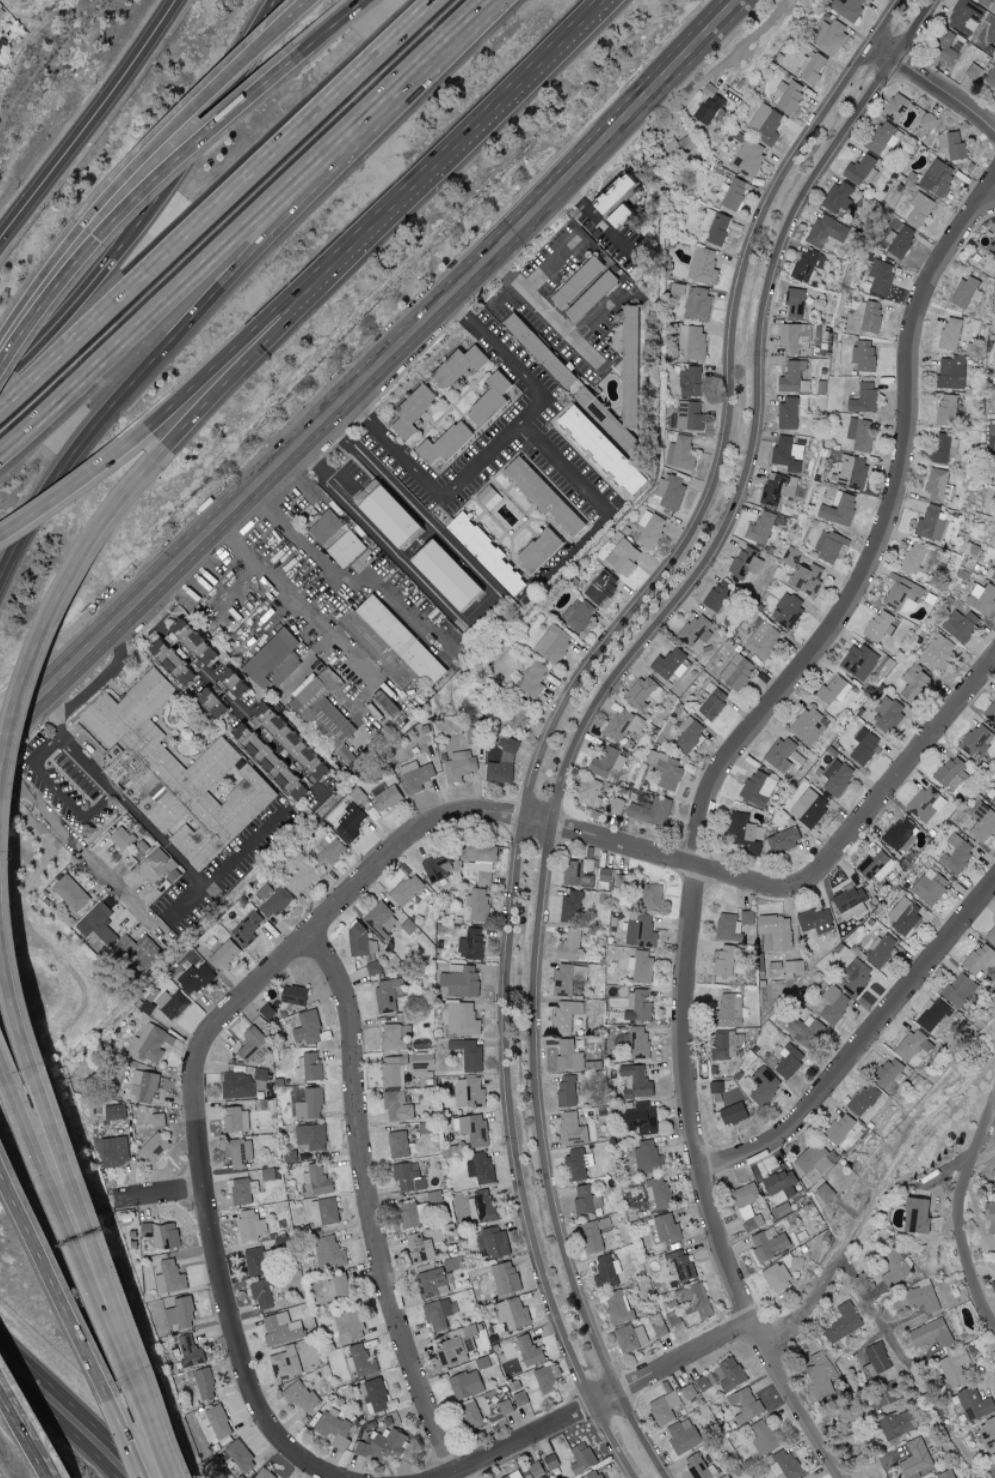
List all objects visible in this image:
building: (985, 2)
building: (848, 9)
building: (965, 17)
road: (263, 23)
road: (470, 27)
building: (829, 36)
building: (945, 47)
road: (728, 54)
building: (813, 69)
building: (973, 72)
building: (991, 77)
road: (933, 90)
building: (789, 97)
road: (489, 105)
building: (710, 107)
building: (897, 108)
building: (926, 121)
road: (91, 123)
building: (765, 125)
building: (883, 138)
building: (680, 146)
building: (950, 146)
road: (144, 158)
building: (749, 158)
road: (179, 160)
building: (860, 170)
building: (936, 178)
building: (611, 195)
building: (734, 195)
building: (838, 198)
road: (155, 204)
road: (213, 205)
building: (920, 210)
building: (605, 217)
building: (716, 227)
building: (825, 232)
building: (902, 242)
building: (990, 247)
road: (553, 261)
road: (221, 262)
building: (808, 265)
building: (703, 267)
building: (881, 277)
building: (573, 282)
building: (678, 289)
building: (964, 292)
road: (503, 294)
building: (587, 297)
building: (697, 304)
building: (794, 304)
road: (207, 305)
road: (548, 313)
road: (598, 313)
building: (869, 317)
road: (263, 321)
road: (274, 332)
building: (949, 334)
building: (795, 339)
building: (693, 342)
road: (5, 351)
building: (536, 352)
building: (862, 356)
building: (460, 364)
road: (372, 372)
building: (952, 373)
building: (790, 377)
building: (690, 383)
building: (620, 388)
building: (862, 399)
building: (488, 400)
building: (947, 408)
building: (415, 409)
building: (791, 412)
building: (690, 416)
building: (858, 436)
building: (448, 442)
building: (592, 446)
road: (496, 448)
building: (945, 449)
building: (682, 454)
building: (787, 454)
road: (328, 466)
building: (850, 473)
building: (993, 481)
road: (74, 483)
building: (632, 484)
building: (939, 487)
building: (777, 489)
building: (669, 493)
building: (489, 497)
building: (537, 497)
road: (605, 505)
building: (837, 510)
building: (390, 512)
building: (932, 523)
building: (327, 525)
building: (762, 528)
building: (649, 530)
building: (348, 547)
building: (828, 547)
building: (482, 549)
building: (533, 551)
building: (789, 557)
building: (622, 558)
building: (918, 560)
building: (744, 563)
building: (450, 573)
building: (777, 574)
building: (993, 578)
building: (804, 579)
road: (347, 588)
building: (600, 589)
building: (904, 595)
building: (982, 599)
road: (494, 604)
building: (786, 611)
road: (305, 613)
building: (578, 614)
building: (961, 626)
building: (879, 627)
building: (695, 632)
building: (192, 636)
building: (761, 641)
building: (393, 644)
building: (554, 644)
building: (937, 653)
building: (212, 656)
building: (175, 657)
building: (275, 660)
building: (860, 663)
building: (671, 665)
building: (736, 672)
building: (231, 677)
building: (534, 680)
building: (915, 684)
building: (244, 689)
building: (833, 691)
building: (645, 693)
road: (233, 698)
building: (218, 700)
building: (388, 701)
building: (712, 703)
building: (328, 705)
road: (563, 706)
road: (594, 708)
building: (991, 714)
building: (888, 715)
building: (520, 721)
building: (622, 724)
building: (810, 726)
building: (475, 734)
building: (689, 735)
building: (976, 740)
building: (863, 748)
building: (282, 751)
building: (784, 756)
building: (606, 763)
building: (461, 764)
building: (503, 764)
building: (174, 771)
building: (666, 771)
building: (951, 774)
building: (417, 775)
building: (837, 778)
road: (60, 789)
building: (758, 789)
building: (358, 793)
building: (589, 793)
road: (118, 794)
building: (387, 795)
building: (992, 796)
road: (699, 802)
building: (925, 804)
building: (615, 806)
building: (809, 808)
building: (649, 812)
building: (352, 822)
building: (982, 822)
building: (743, 833)
building: (900, 834)
building: (123, 837)
building: (783, 840)
building: (142, 847)
building: (330, 848)
road: (84, 852)
building: (159, 852)
building: (957, 854)
road: (382, 859)
building: (480, 860)
road: (229, 863)
building: (438, 864)
building: (874, 865)
building: (161, 869)
building: (303, 873)
building: (604, 875)
building: (931, 887)
building: (408, 888)
building: (72, 892)
building: (650, 897)
building: (273, 899)
building: (479, 902)
building: (570, 903)
building: (850, 903)
building: (903, 915)
road: (8, 917)
building: (746, 917)
building: (383, 919)
building: (815, 921)
building: (102, 922)
building: (410, 925)
building: (249, 927)
building: (726, 928)
building: (640, 930)
building: (775, 932)
building: (991, 936)
building: (362, 940)
building: (472, 943)
building: (568, 946)
building: (881, 950)
building: (139, 951)
building: (225, 953)
building: (980, 958)
building: (375, 967)
building: (641, 967)
building: (788, 969)
building: (855, 977)
building: (197, 978)
building: (567, 978)
building: (462, 979)
building: (959, 991)
building: (388, 993)
building: (296, 994)
building: (173, 1003)
building: (834, 1005)
building: (638, 1006)
building: (728, 1011)
building: (932, 1014)
building: (564, 1015)
building: (464, 1018)
building: (309, 1027)
building: (806, 1031)
building: (397, 1036)
road: (861, 1040)
building: (152, 1042)
building: (253, 1042)
building: (637, 1043)
building: (726, 1044)
building: (910, 1044)
building: (287, 1053)
building: (470, 1053)
building: (571, 1057)
building: (424, 1060)
building: (790, 1060)
building: (310, 1067)
building: (394, 1069)
road: (13, 1070)
building: (262, 1073)
building: (890, 1074)
building: (634, 1082)
building: (144, 1084)
building: (238, 1084)
building: (762, 1086)
building: (470, 1091)
building: (567, 1091)
building: (863, 1100)
building: (261, 1103)
building: (312, 1103)
building: (399, 1104)
building: (117, 1110)
building: (732, 1114)
building: (159, 1118)
building: (238, 1118)
building: (639, 1119)
building: (472, 1127)
building: (570, 1129)
building: (844, 1129)
building: (313, 1135)
building: (400, 1143)
building: (156, 1145)
building: (116, 1150)
building: (240, 1152)
building: (291, 1155)
building: (646, 1158)
building: (816, 1160)
road: (897, 1160)
building: (576, 1165)
building: (481, 1166)
building: (270, 1173)
building: (410, 1176)
building: (318, 1180)
building: (994, 1180)
building: (779, 1184)
building: (255, 1186)
building: (241, 1190)
building: (658, 1193)
building: (823, 1193)
road: (163, 1194)
building: (436, 1195)
building: (585, 1198)
building: (482, 1205)
road: (369, 1206)
building: (748, 1206)
building: (326, 1210)
building: (782, 1210)
building: (411, 1214)
building: (911, 1215)
road: (958, 1215)
building: (989, 1218)
building: (253, 1224)
building: (667, 1230)
building: (164, 1233)
building: (593, 1234)
building: (494, 1242)
building: (767, 1245)
building: (422, 1247)
building: (330, 1251)
road: (86, 1255)
building: (256, 1261)
building: (452, 1263)
building: (796, 1264)
building: (679, 1265)
building: (897, 1267)
building: (607, 1271)
building: (171, 1276)
building: (505, 1278)
building: (777, 1278)
building: (433, 1282)
road: (820, 1284)
building: (340, 1285)
building: (993, 1287)
building: (263, 1292)
building: (922, 1296)
building: (694, 1301)
building: (618, 1307)
building: (182, 1312)
building: (439, 1312)
road: (77, 1313)
building: (511, 1313)
building: (844, 1323)
building: (351, 1324)
building: (659, 1325)
building: (283, 1327)
building: (931, 1334)
building: (631, 1338)
road: (894, 1341)
building: (458, 1344)
building: (190, 1350)
building: (528, 1351)
building: (295, 1358)
building: (875, 1360)
building: (362, 1361)
building: (956, 1369)
road: (988, 1374)
building: (729, 1375)
building: (820, 1375)
building: (544, 1380)
building: (468, 1384)
building: (702, 1384)
building: (204, 1385)
building: (515, 1385)
building: (688, 1392)
building: (303, 1395)
building: (377, 1395)
road: (604, 1396)
building: (520, 1399)
building: (746, 1402)
building: (975, 1405)
building: (504, 1407)
building: (665, 1408)
building: (472, 1414)
road: (64, 1416)
building: (218, 1422)
building: (897, 1422)
building: (336, 1426)
road: (22, 1429)
building: (988, 1434)
building: (681, 1437)
road: (162, 1441)
building: (383, 1443)
building: (242, 1455)
building: (581, 1458)
building: (914, 1458)
road: (11, 1460)
building: (551, 1463)
building: (786, 1465)
building: (697, 1466)
building: (537, 1470)
road: (849, 1473)
building: (264, 1474)
road: (445, 1474)
building: (595, 1474)
building: (946, 1474)
building: (513, 1475)
building: (726, 1477)
building: (805, 1477)

